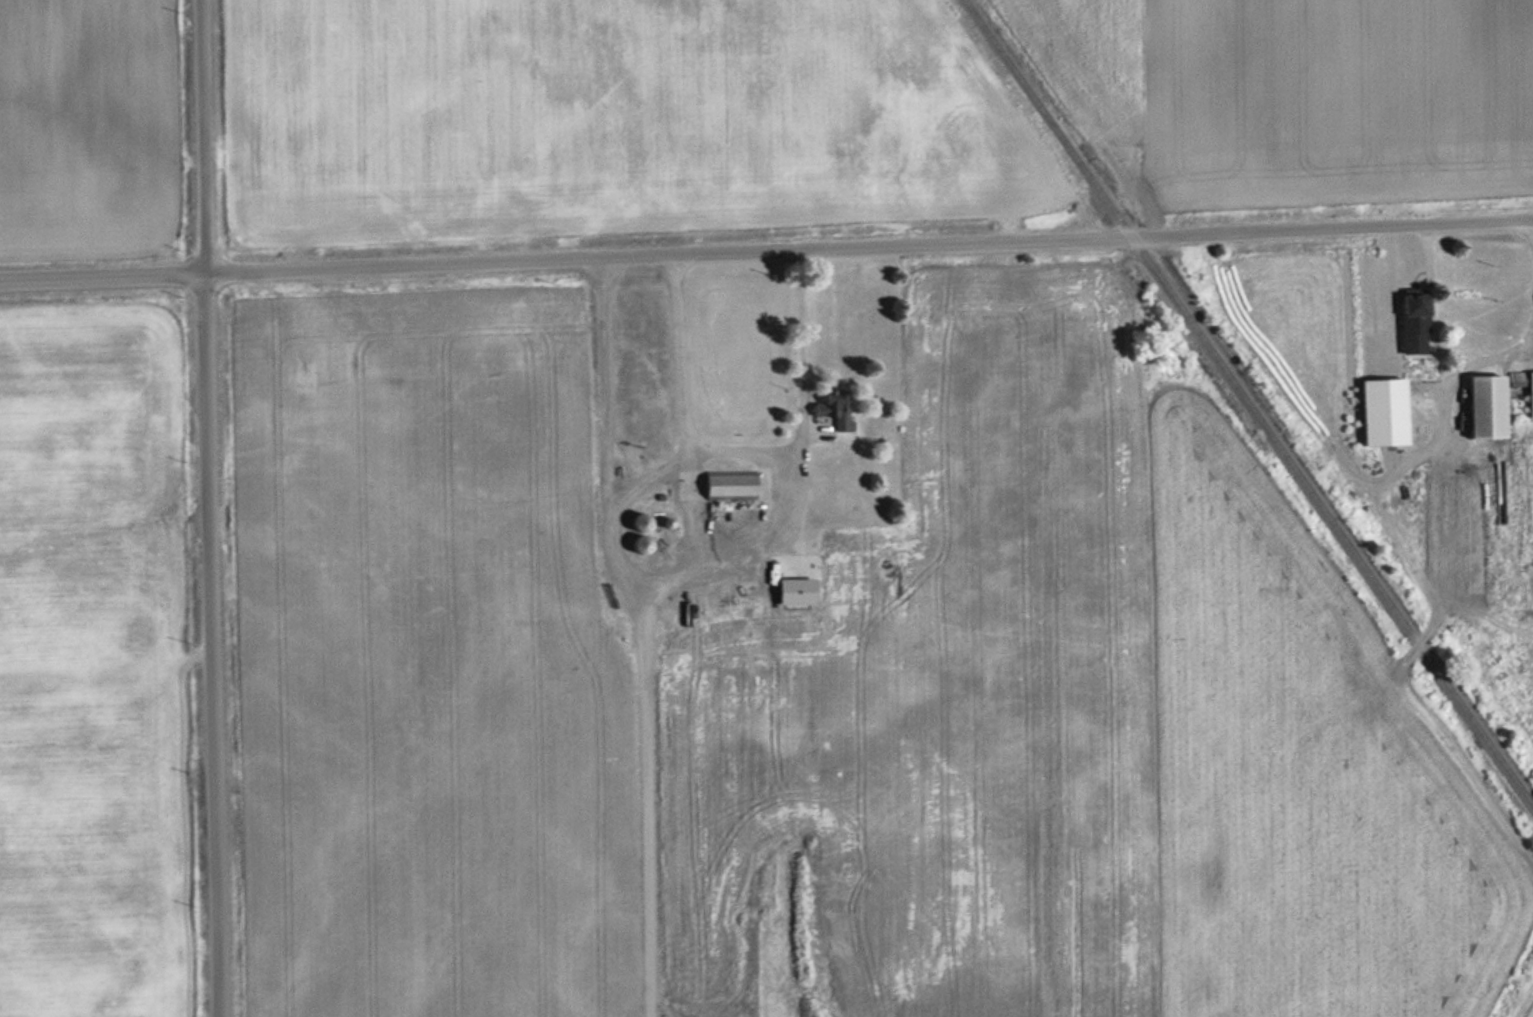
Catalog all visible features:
road: (766, 251)
building: (1409, 305)
building: (1529, 393)
railway: (1250, 402)
building: (1482, 405)
building: (830, 407)
building: (1378, 410)
building: (725, 484)
road: (208, 508)
building: (631, 522)
building: (631, 544)
building: (714, 583)

